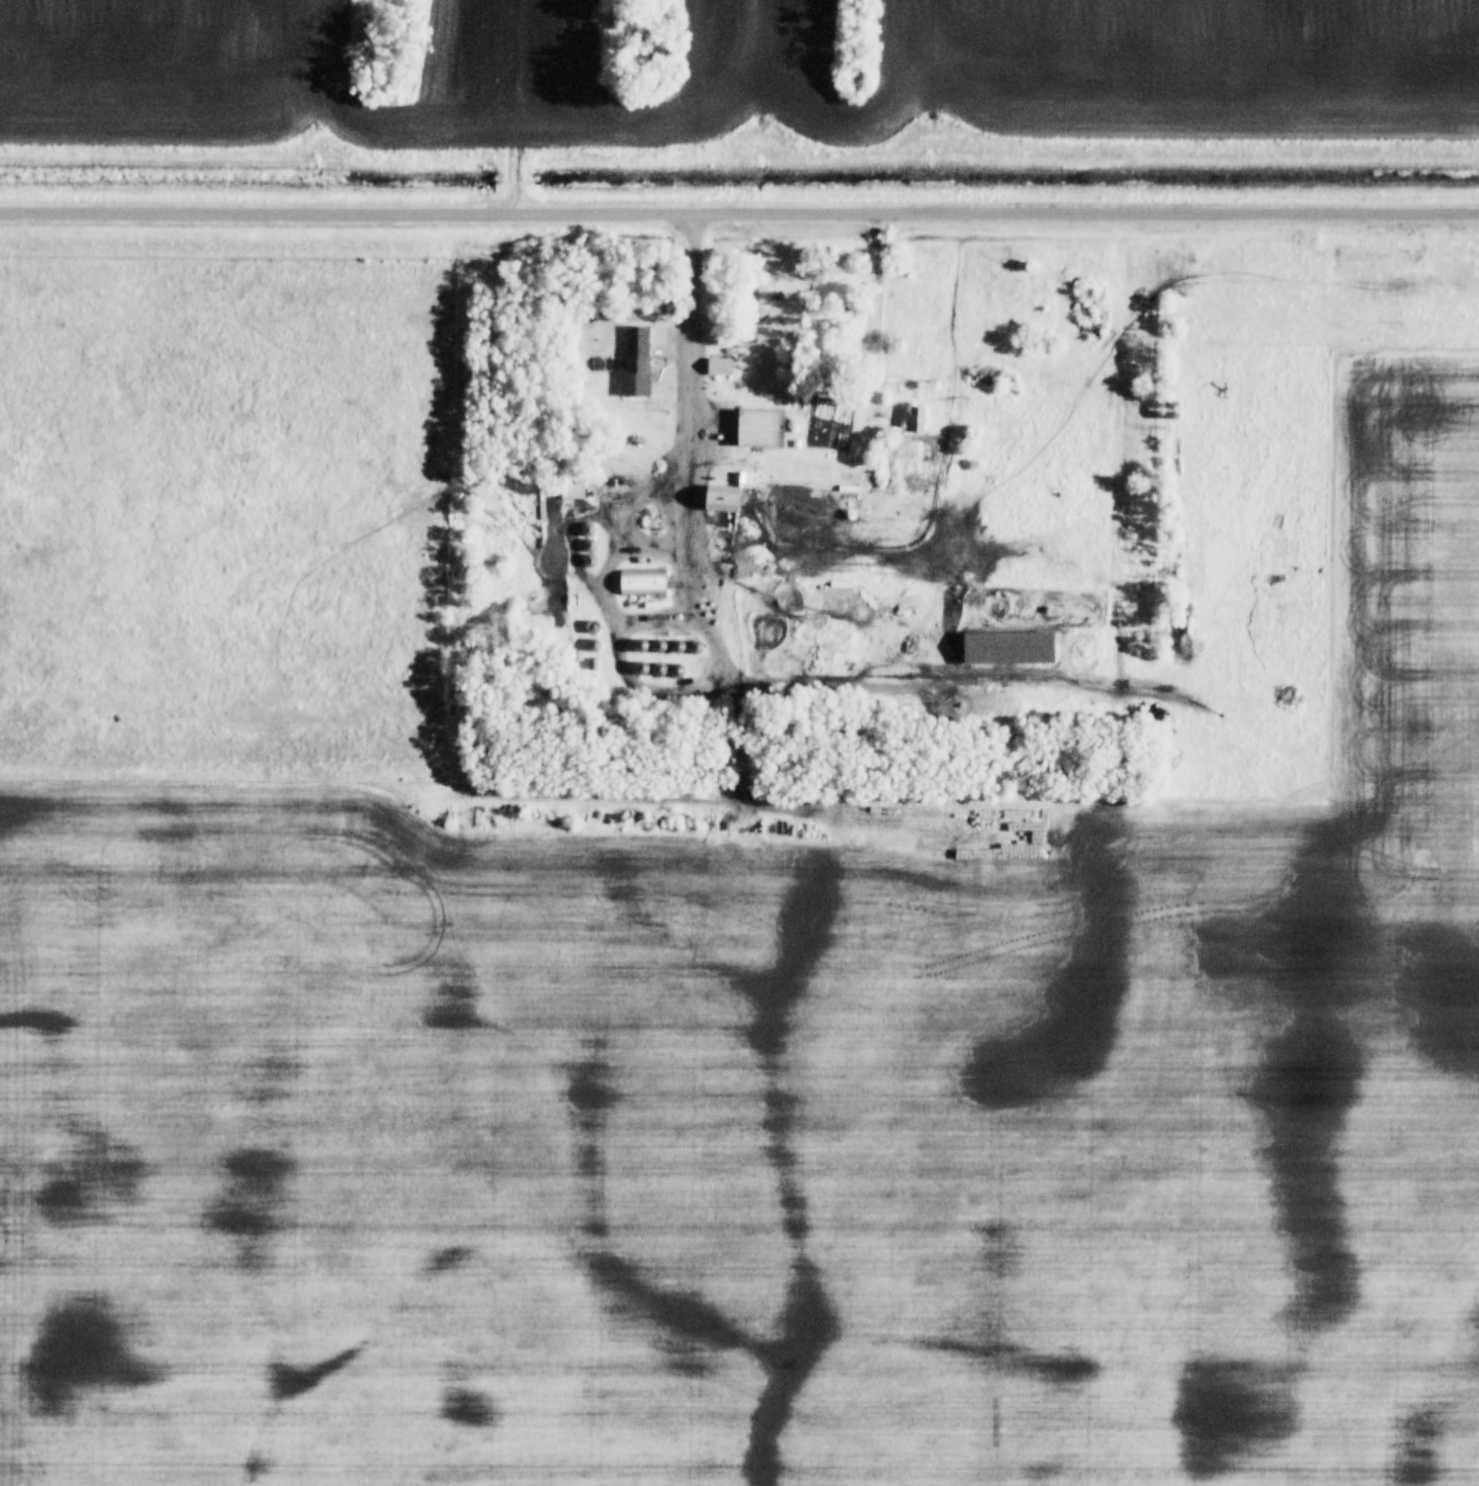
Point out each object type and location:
road: (495, 108)
road: (739, 215)
road: (874, 285)
road: (699, 316)
building: (722, 367)
building: (764, 427)
building: (644, 581)
building: (1013, 646)

